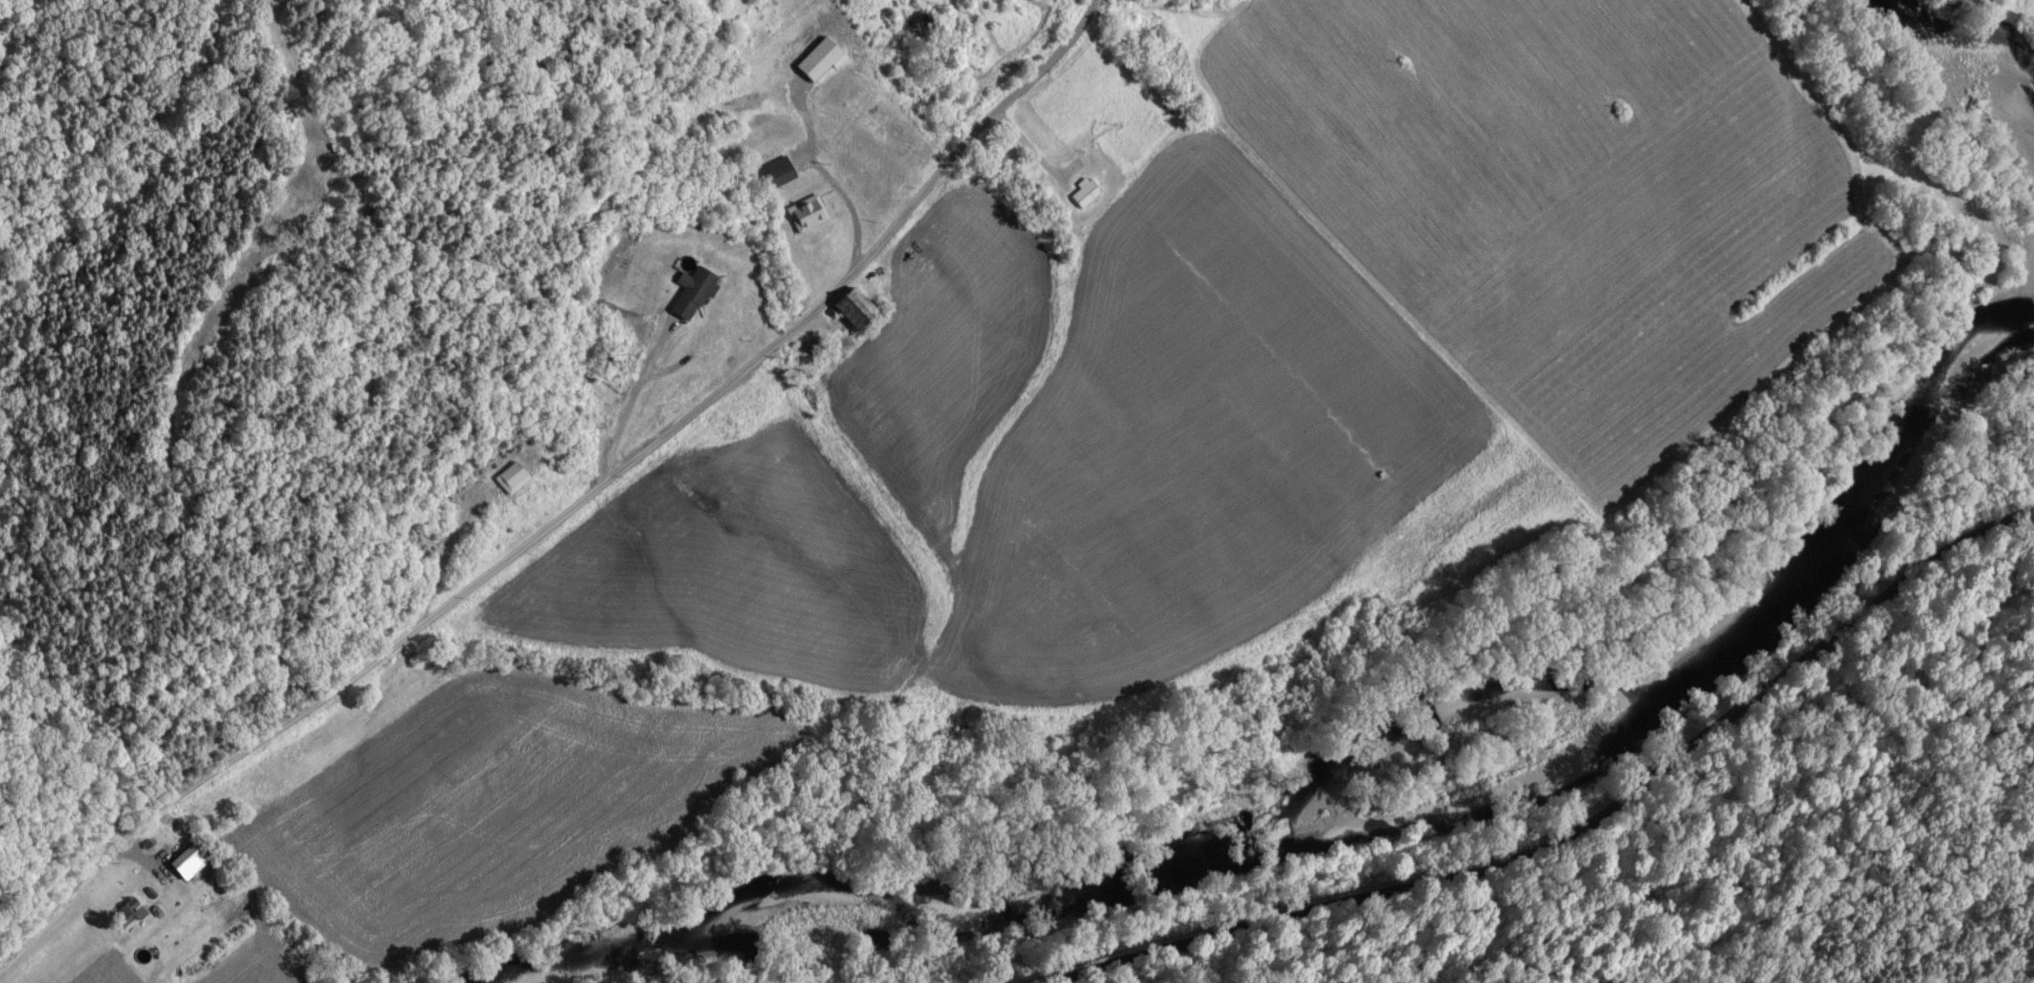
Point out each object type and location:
building: (813, 61)
river: (1988, 72)
building: (774, 173)
building: (1080, 195)
road: (845, 212)
building: (804, 215)
building: (686, 294)
building: (845, 308)
crop: (1085, 445)
building: (507, 479)
road: (577, 515)
river: (1385, 823)
road: (1575, 825)
building: (178, 866)
building: (122, 915)

